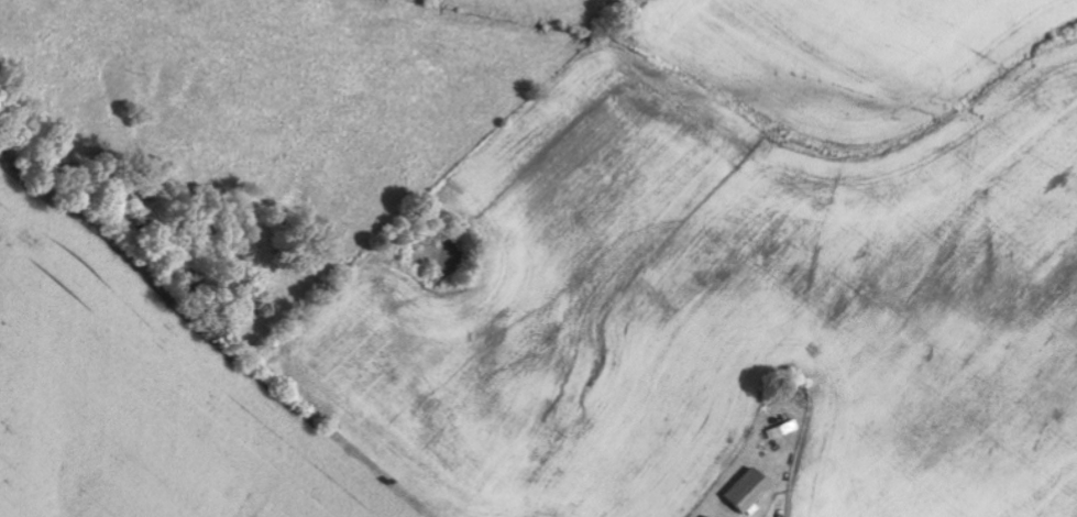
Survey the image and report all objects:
building: (751, 492)
building: (710, 516)

